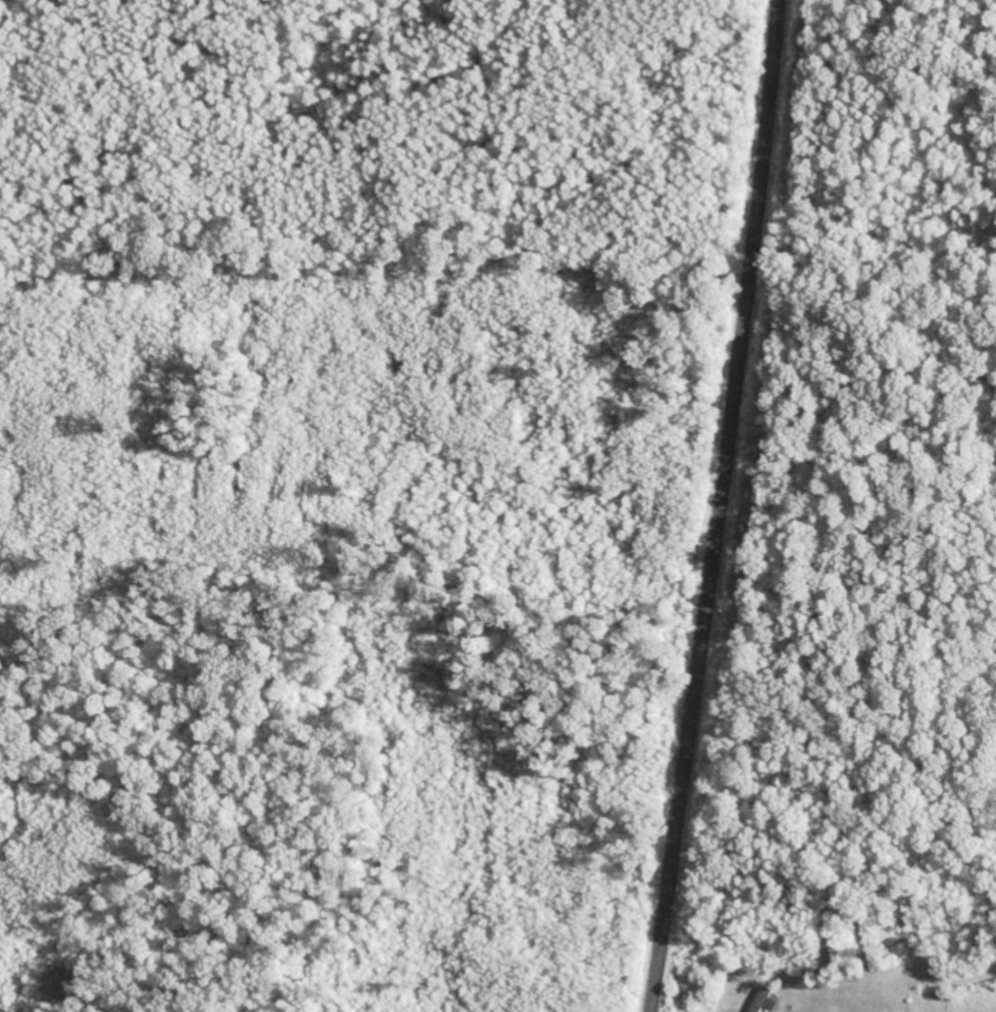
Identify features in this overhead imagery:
road: (717, 506)
building: (763, 1002)

